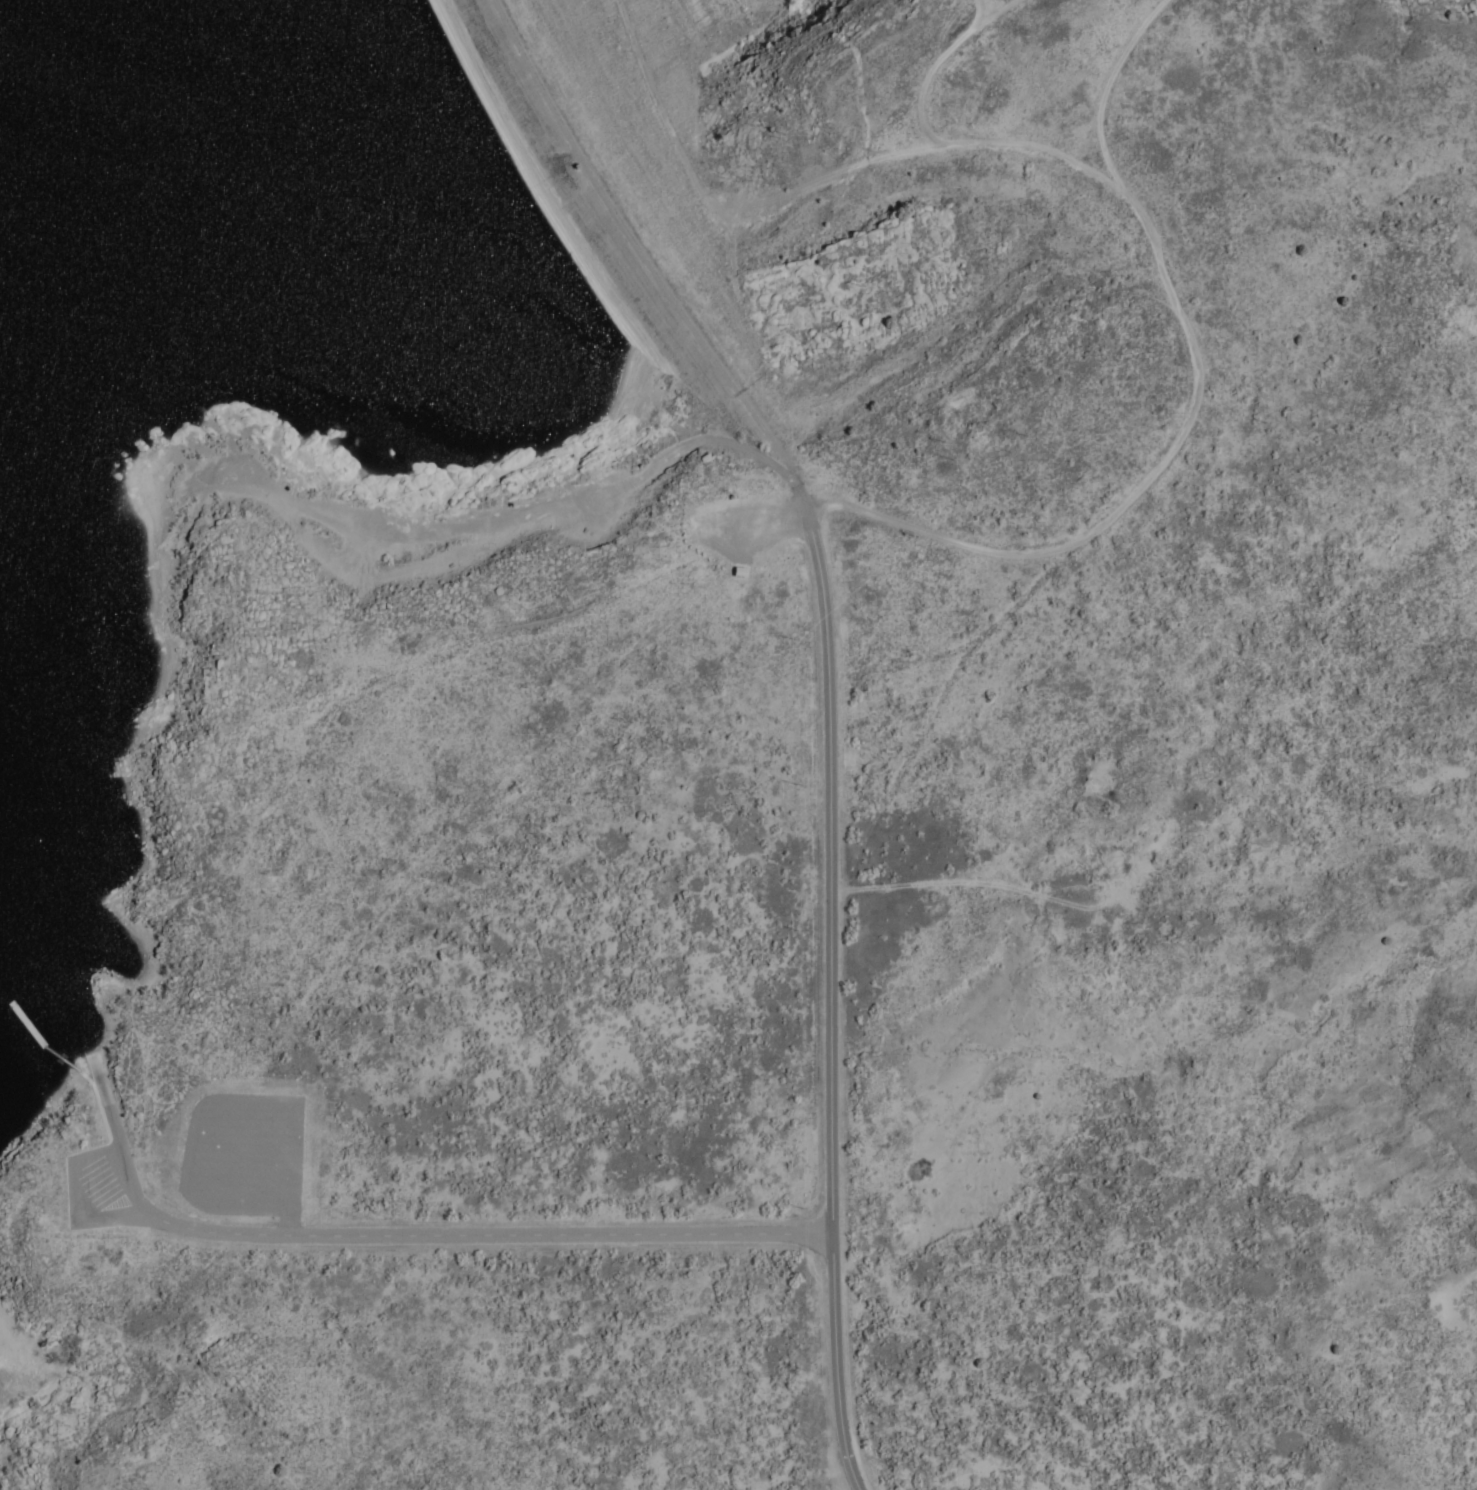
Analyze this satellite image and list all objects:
river: (106, 9)
dam: (627, 225)
building: (736, 573)
road: (829, 1010)
road: (63, 1053)
road: (107, 1087)
road: (102, 1106)
parking lot: (96, 1191)
road: (78, 1204)
road: (429, 1235)

